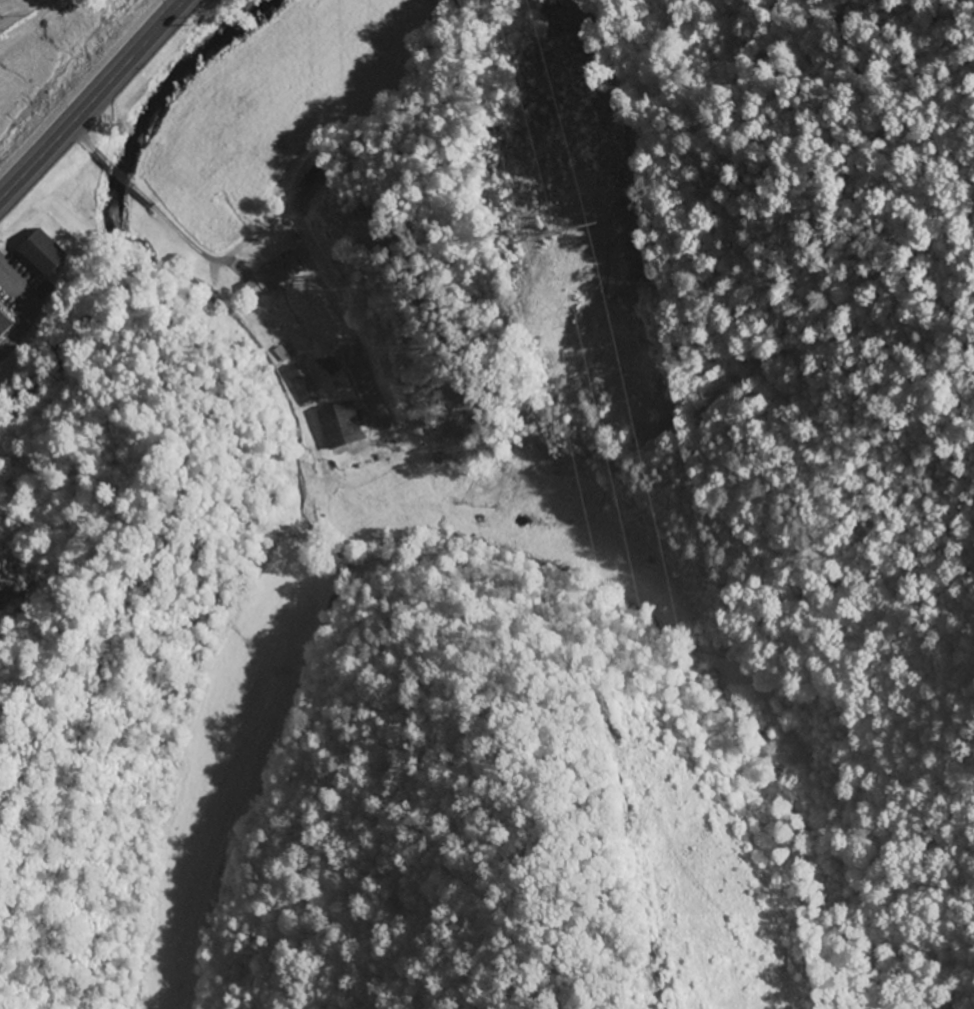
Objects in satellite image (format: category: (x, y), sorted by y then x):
road: (19, 13)
road: (94, 101)
building: (307, 180)
road: (146, 200)
building: (40, 252)
power tower: (556, 259)
building: (269, 275)
building: (44, 291)
road: (25, 310)
building: (3, 324)
building: (336, 424)

